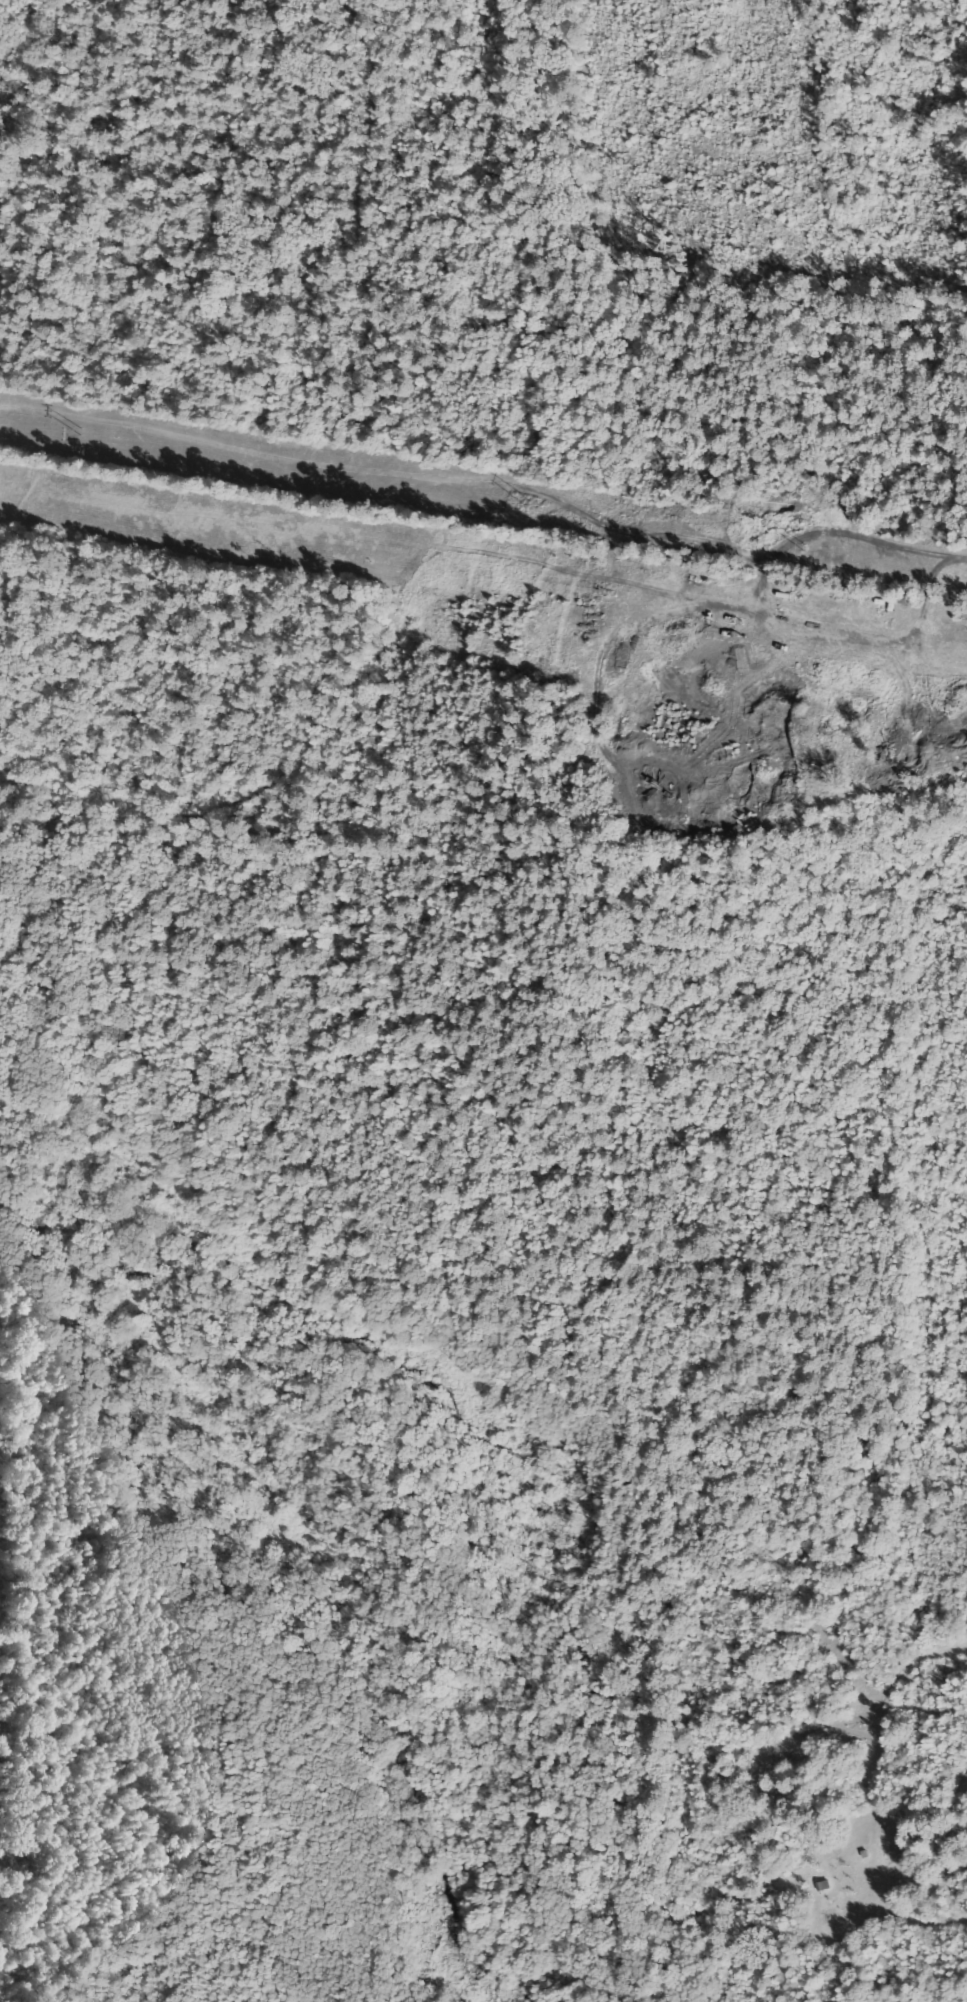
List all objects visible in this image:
road: (896, 1938)

